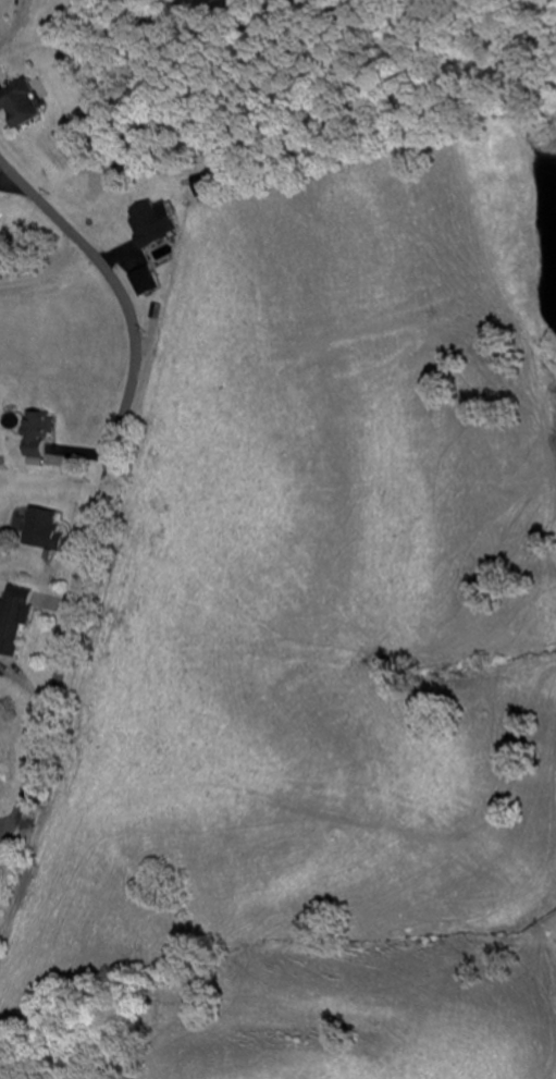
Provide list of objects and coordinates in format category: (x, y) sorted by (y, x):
building: (20, 106)
building: (147, 236)
building: (34, 434)
road: (104, 483)
building: (37, 530)
building: (12, 620)

